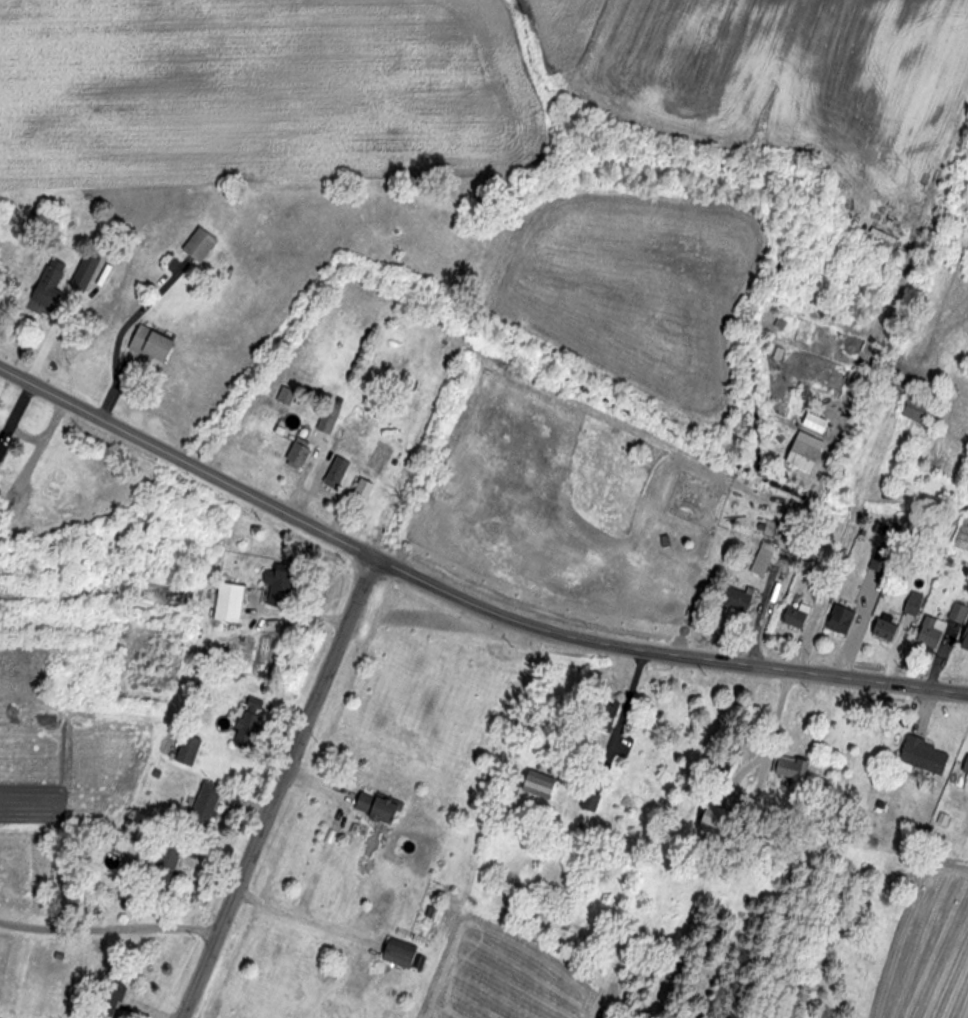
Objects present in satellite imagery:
building: (197, 245)
building: (83, 273)
building: (46, 284)
building: (149, 345)
building: (284, 396)
building: (914, 410)
building: (327, 418)
building: (2, 449)
building: (295, 457)
building: (800, 457)
building: (334, 473)
building: (362, 490)
building: (761, 560)
building: (880, 562)
building: (276, 589)
building: (165, 598)
building: (735, 599)
road: (461, 601)
building: (227, 603)
building: (910, 607)
building: (793, 616)
building: (839, 621)
building: (939, 627)
building: (883, 630)
building: (964, 641)
road: (618, 716)
building: (245, 723)
building: (187, 750)
building: (922, 756)
building: (965, 764)
building: (788, 768)
road: (759, 775)
building: (537, 785)
road: (280, 790)
building: (589, 802)
building: (203, 803)
building: (374, 806)
building: (712, 819)
building: (164, 862)
road: (300, 920)
road: (109, 931)
building: (395, 955)
building: (109, 994)

